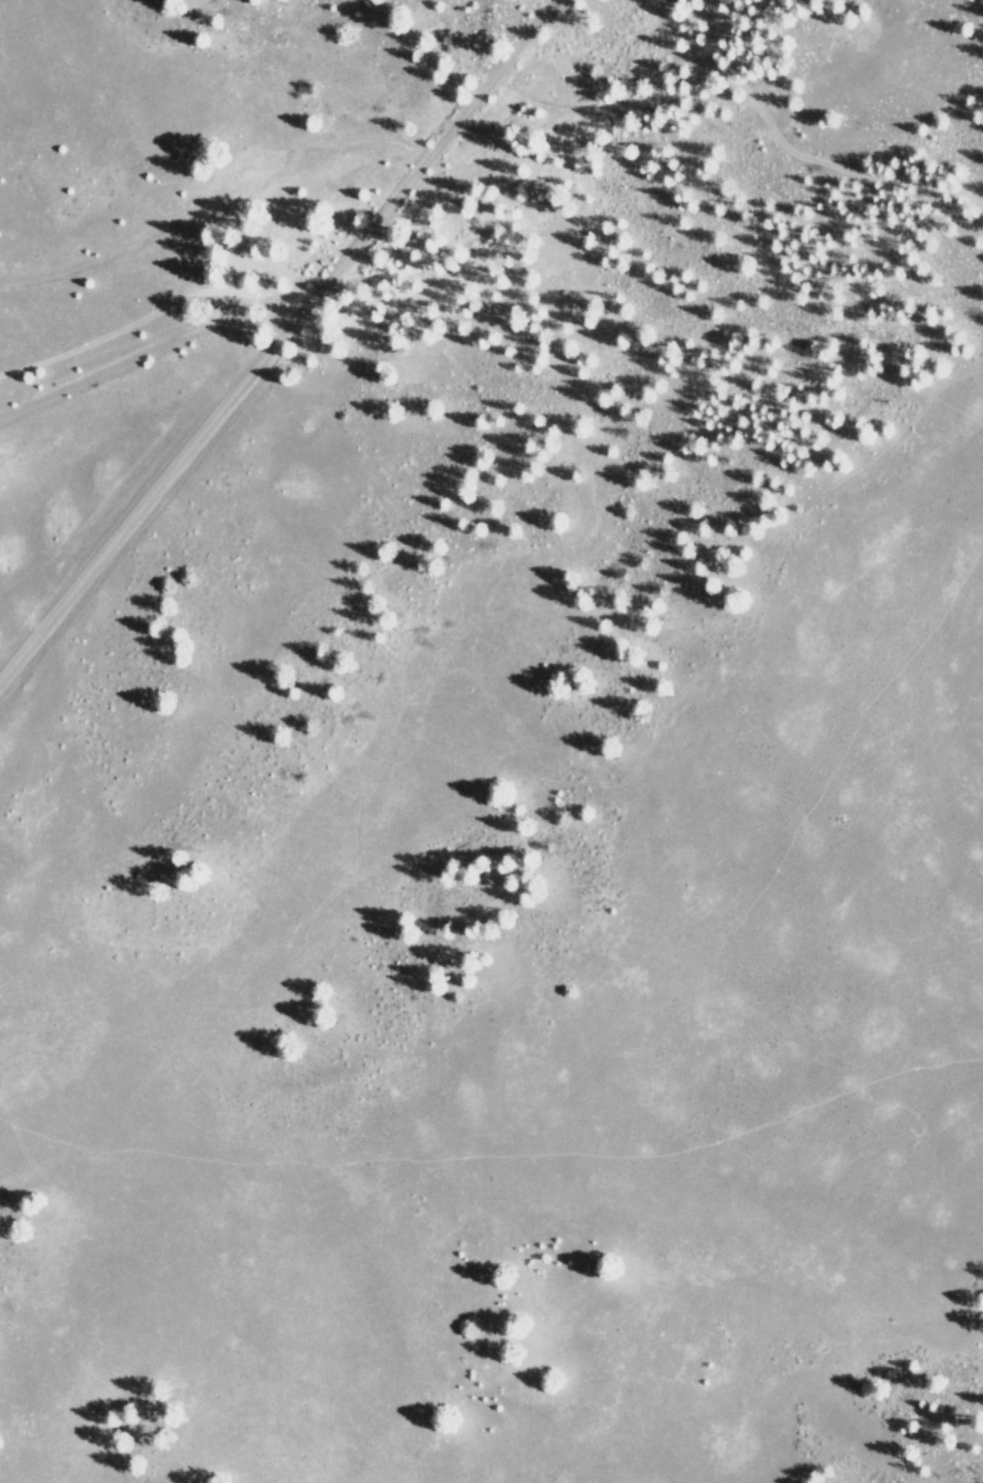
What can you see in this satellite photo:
road: (404, 137)
road: (500, 267)
road: (145, 444)

